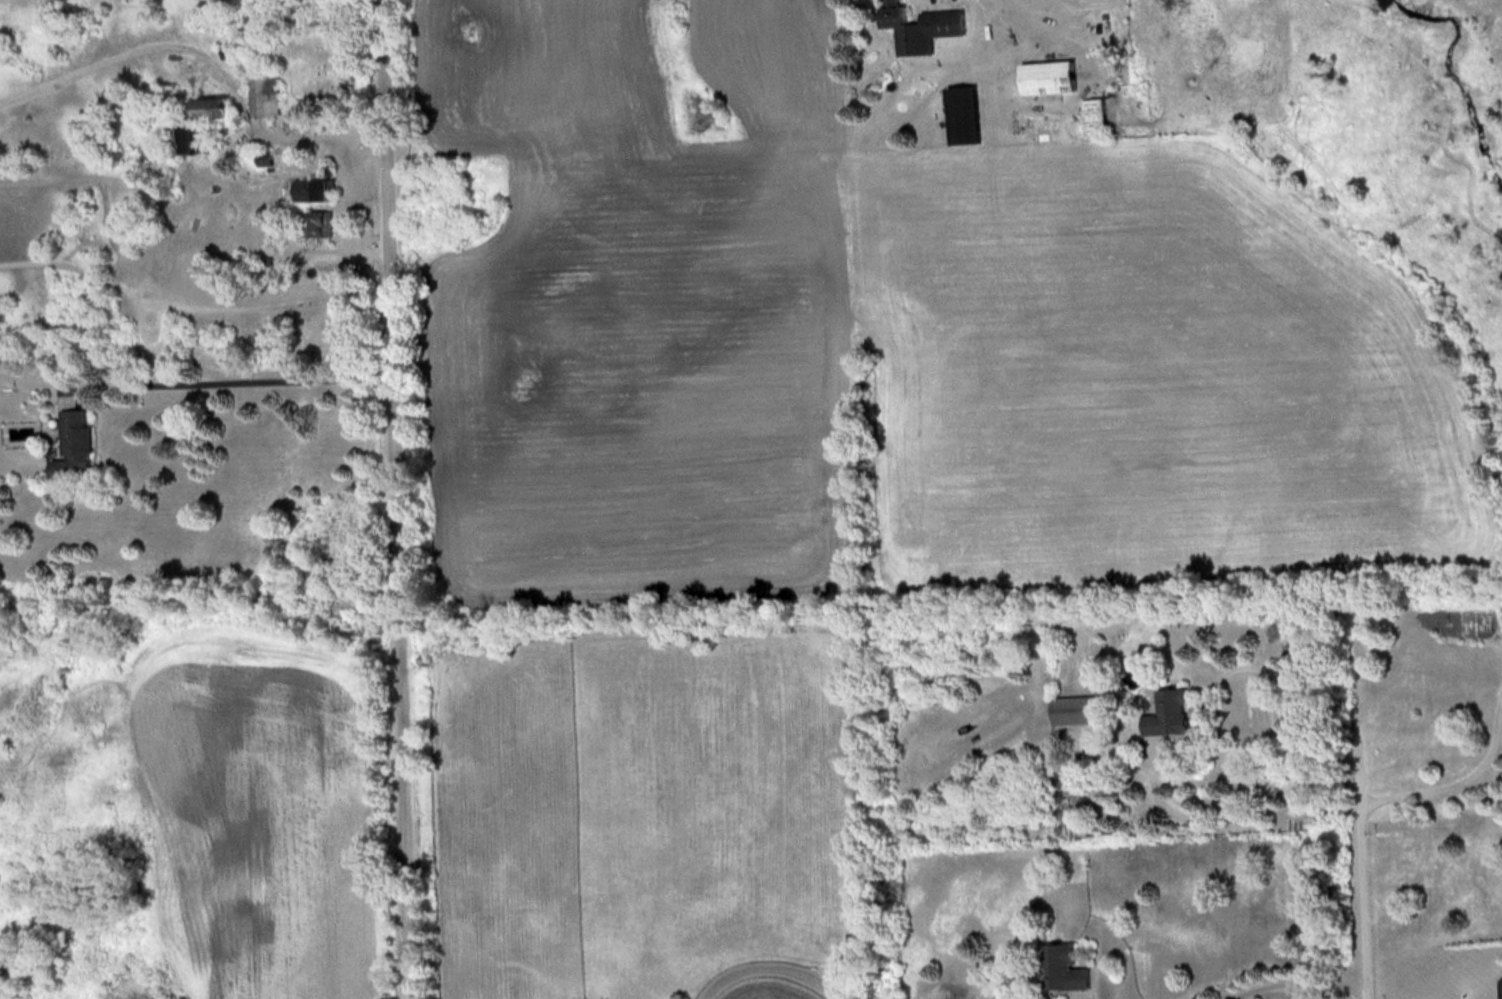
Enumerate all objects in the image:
building: (923, 26)
building: (1056, 76)
building: (269, 91)
building: (221, 105)
building: (969, 114)
building: (1100, 115)
building: (195, 136)
building: (267, 156)
building: (319, 188)
building: (321, 222)
road: (247, 379)
building: (82, 443)
road: (402, 499)
building: (1083, 708)
building: (1177, 711)
road: (1461, 775)
road: (1240, 793)
road: (206, 811)
road: (1365, 877)
building: (1068, 966)
road: (1296, 977)

